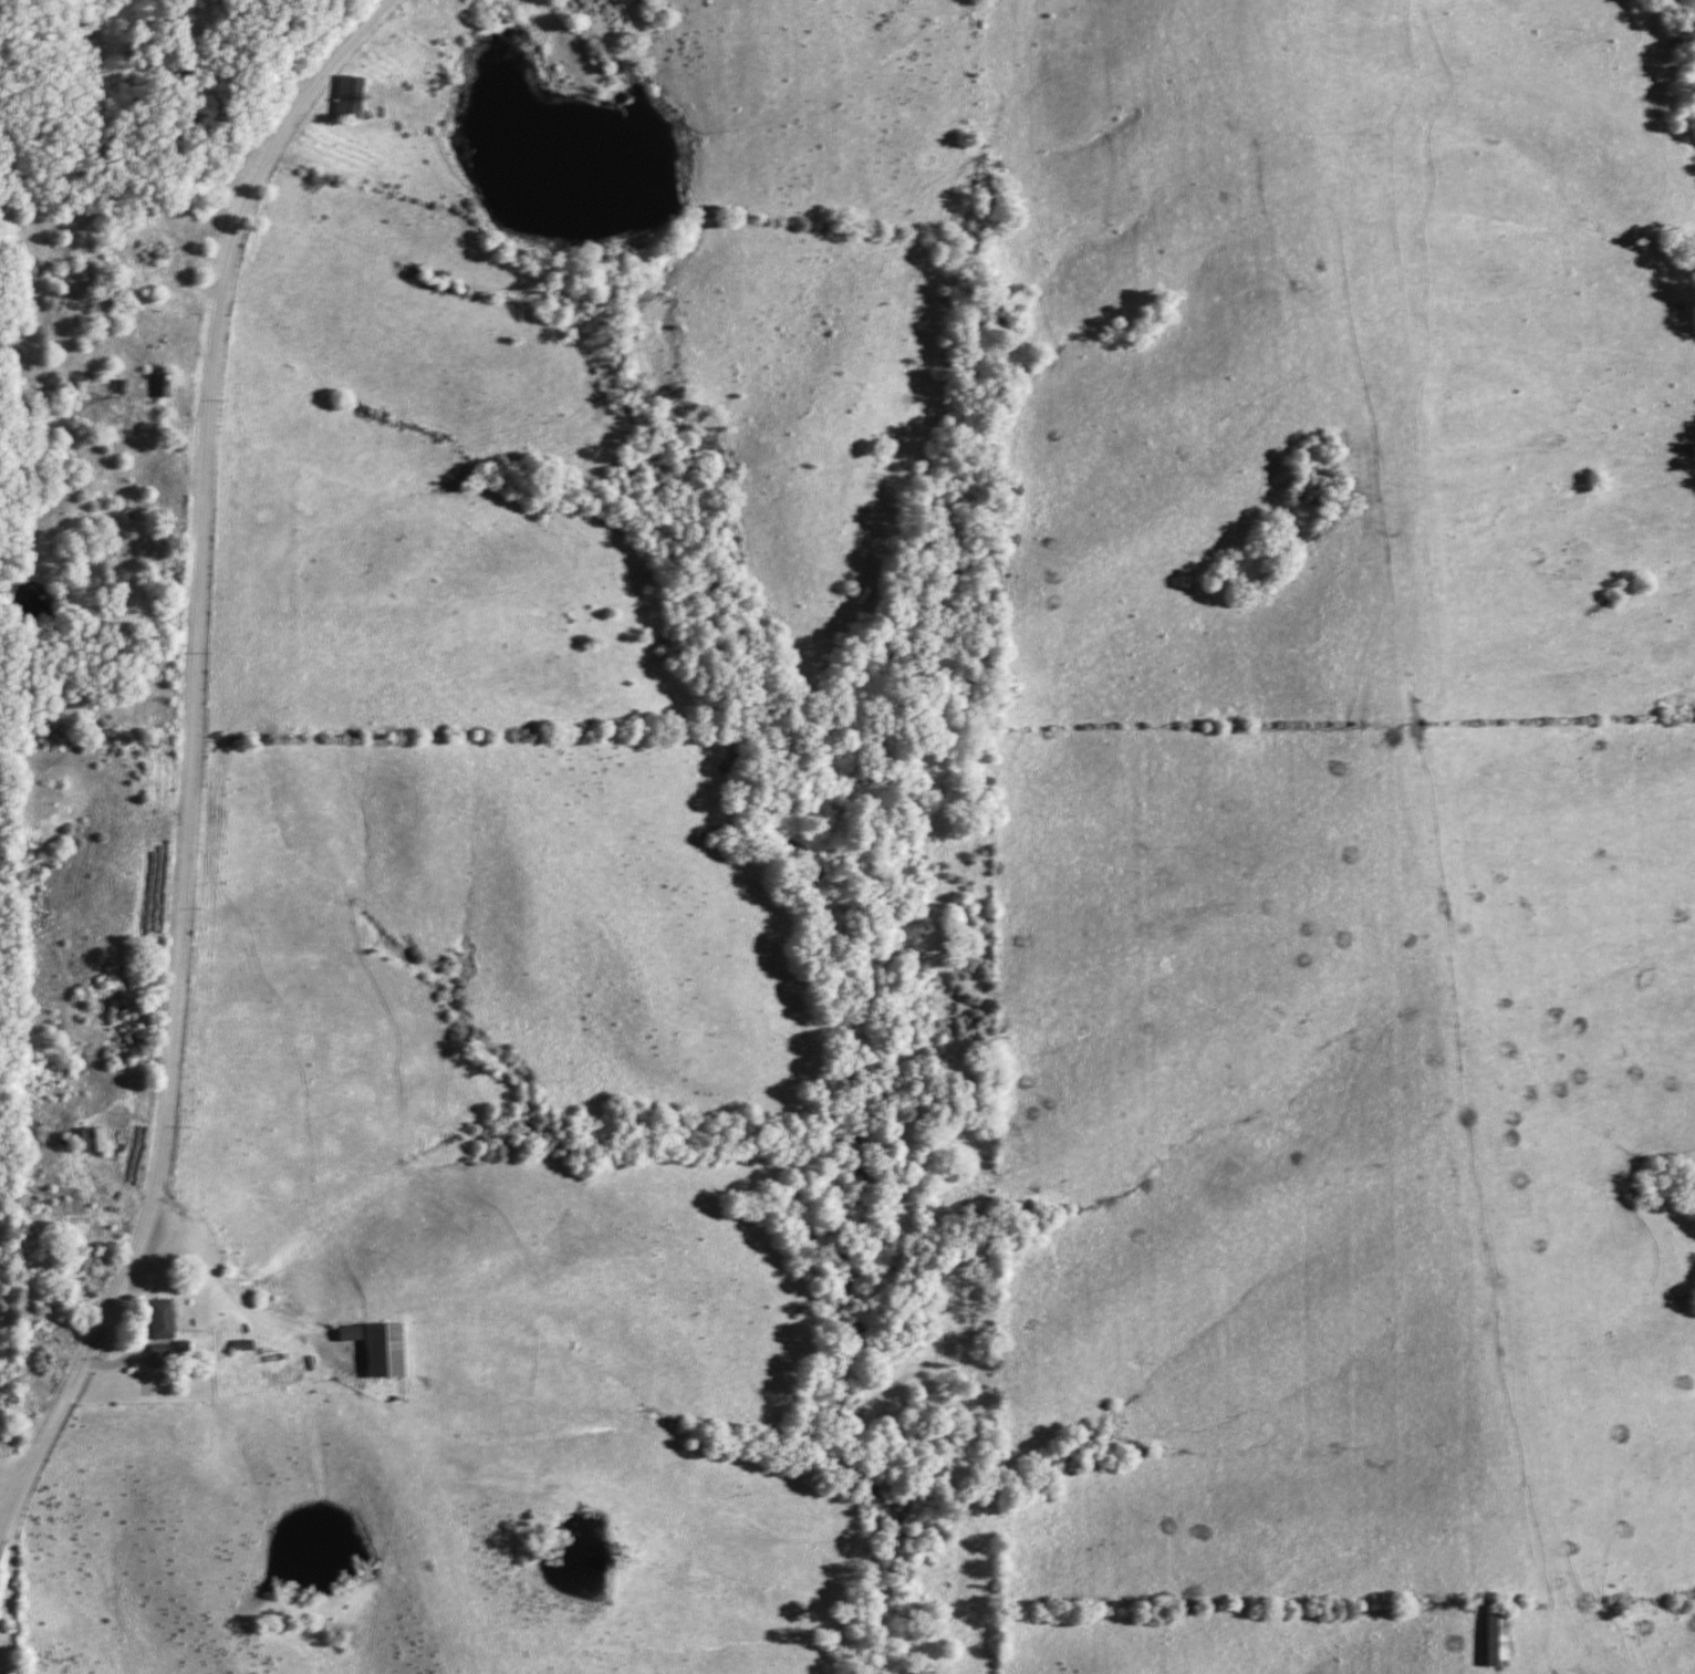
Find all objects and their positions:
building: (341, 97)
building: (155, 385)
road: (181, 755)
building: (85, 1140)
building: (155, 1319)
building: (375, 1350)
road: (207, 1374)
building: (1489, 1637)

